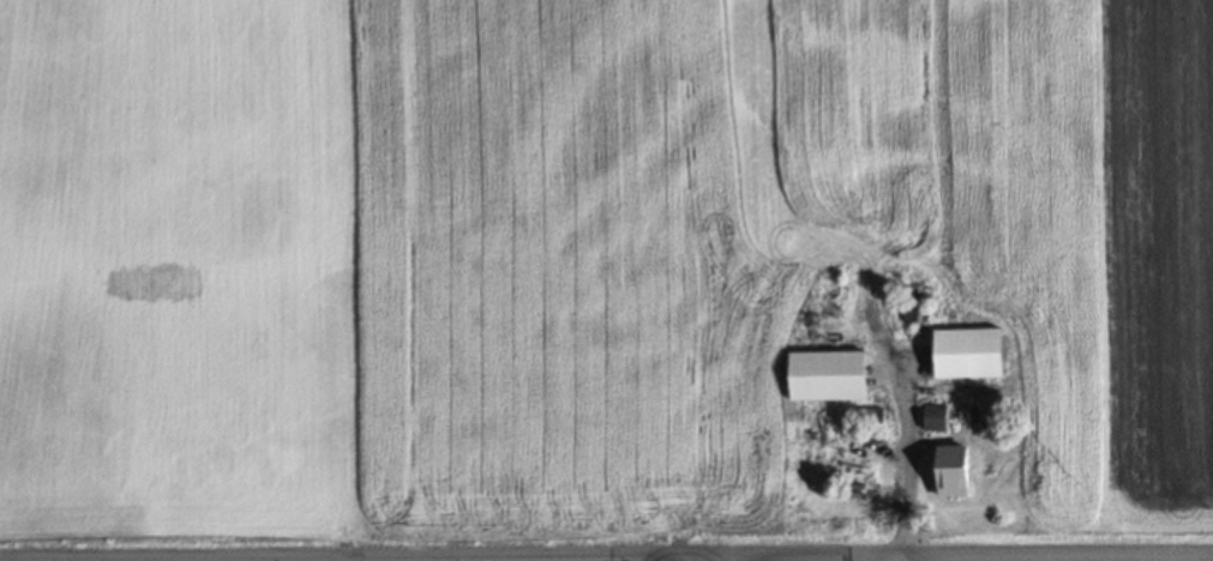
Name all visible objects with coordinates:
building: (966, 354)
building: (825, 375)
building: (932, 417)
building: (950, 470)
road: (1005, 553)
road: (198, 559)

